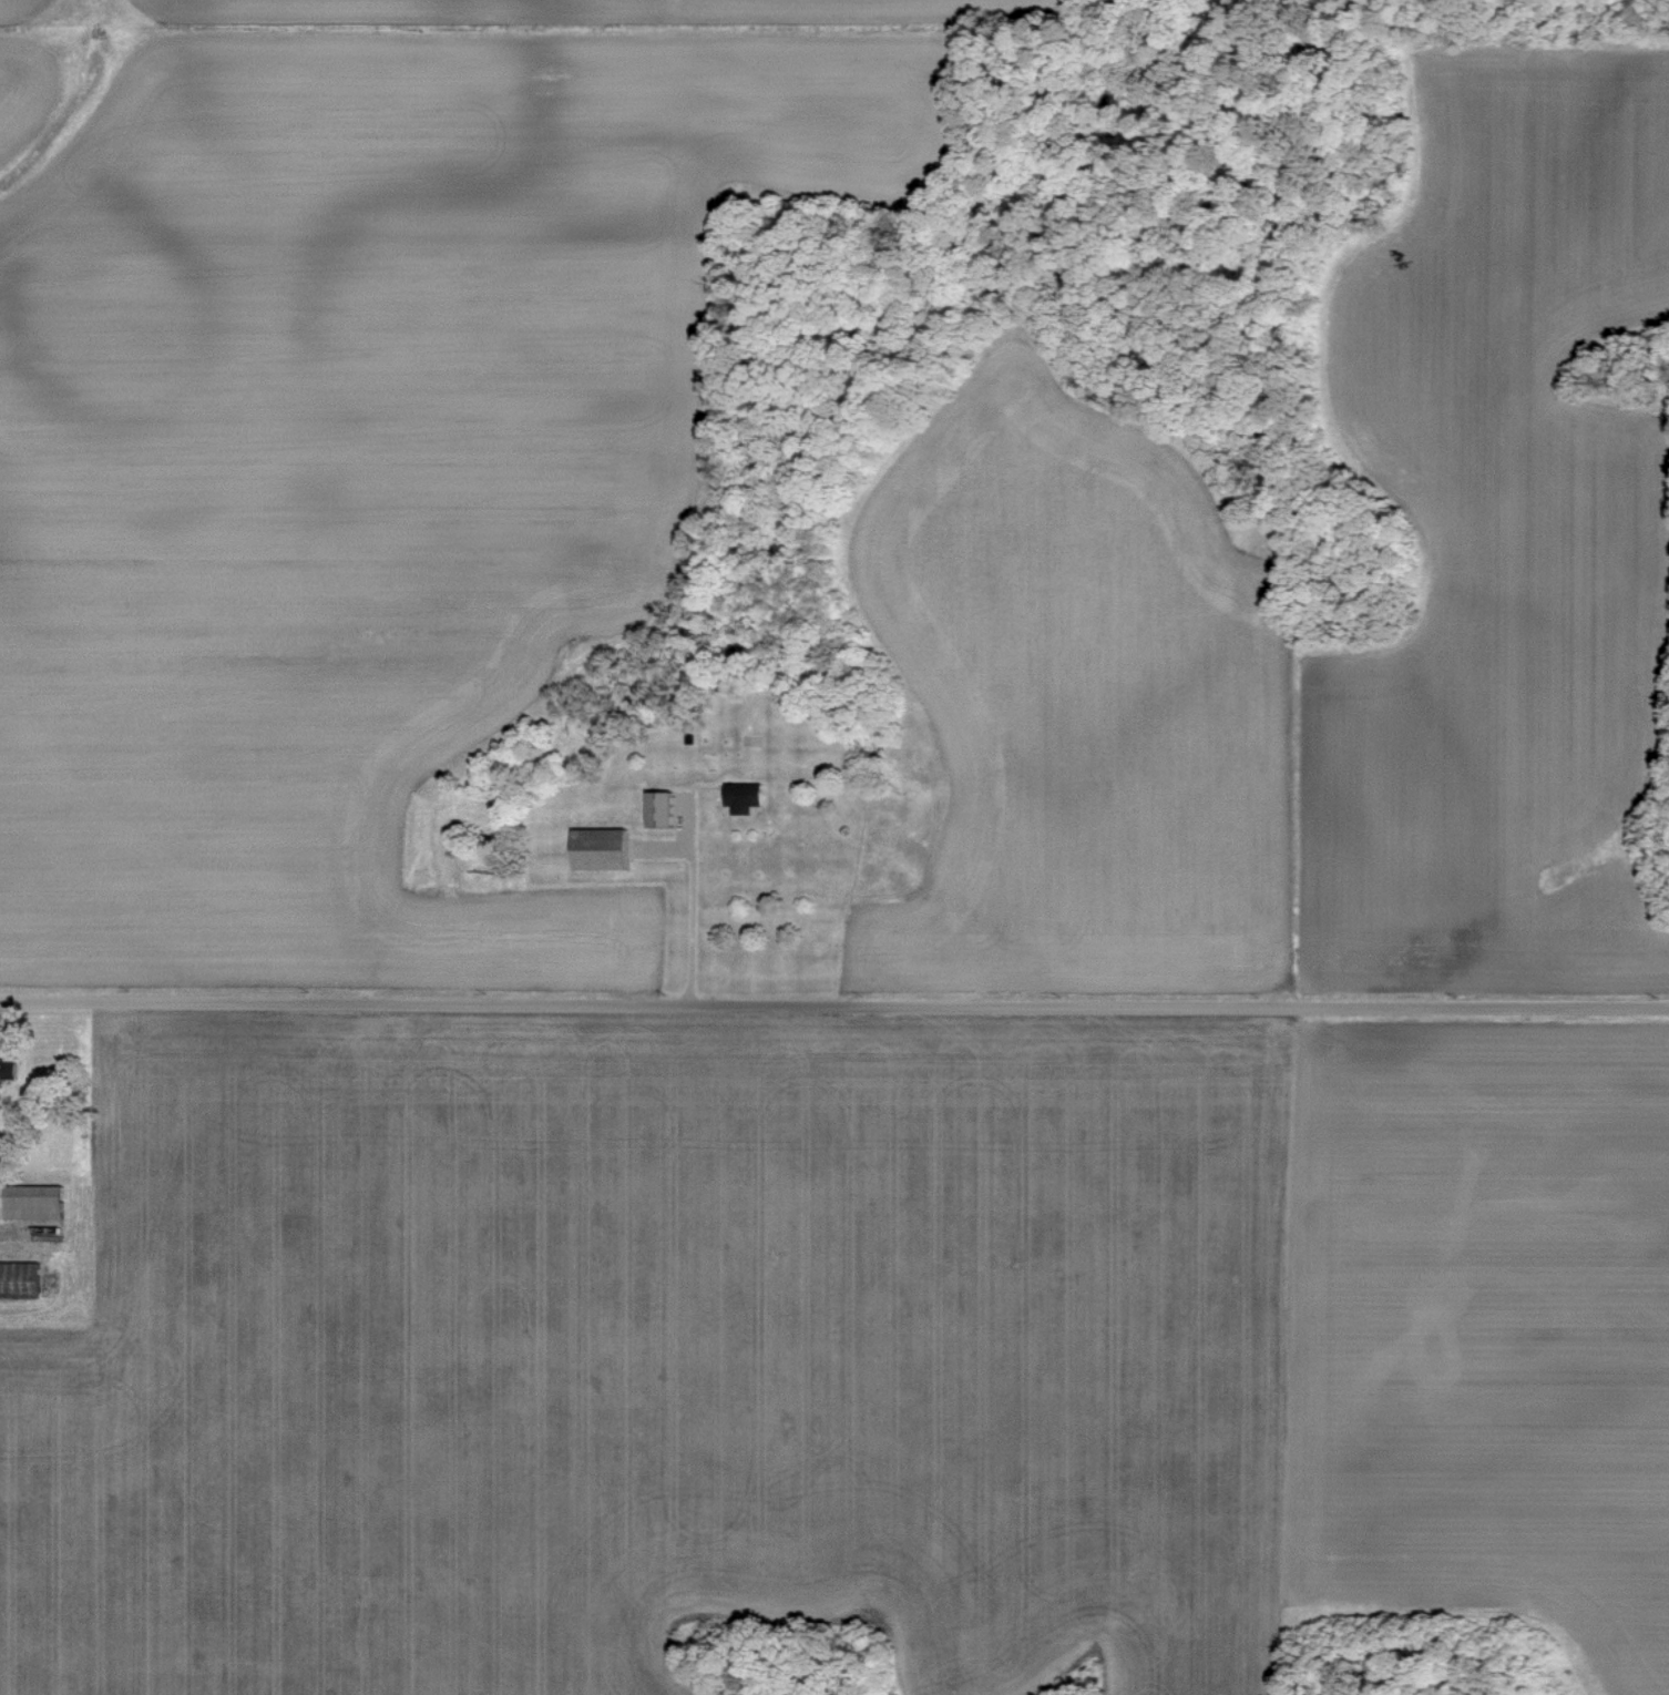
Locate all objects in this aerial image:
building: (743, 796)
building: (659, 807)
building: (601, 848)
road: (676, 909)
road: (834, 1003)
building: (7, 1069)
building: (31, 1201)
building: (19, 1279)

